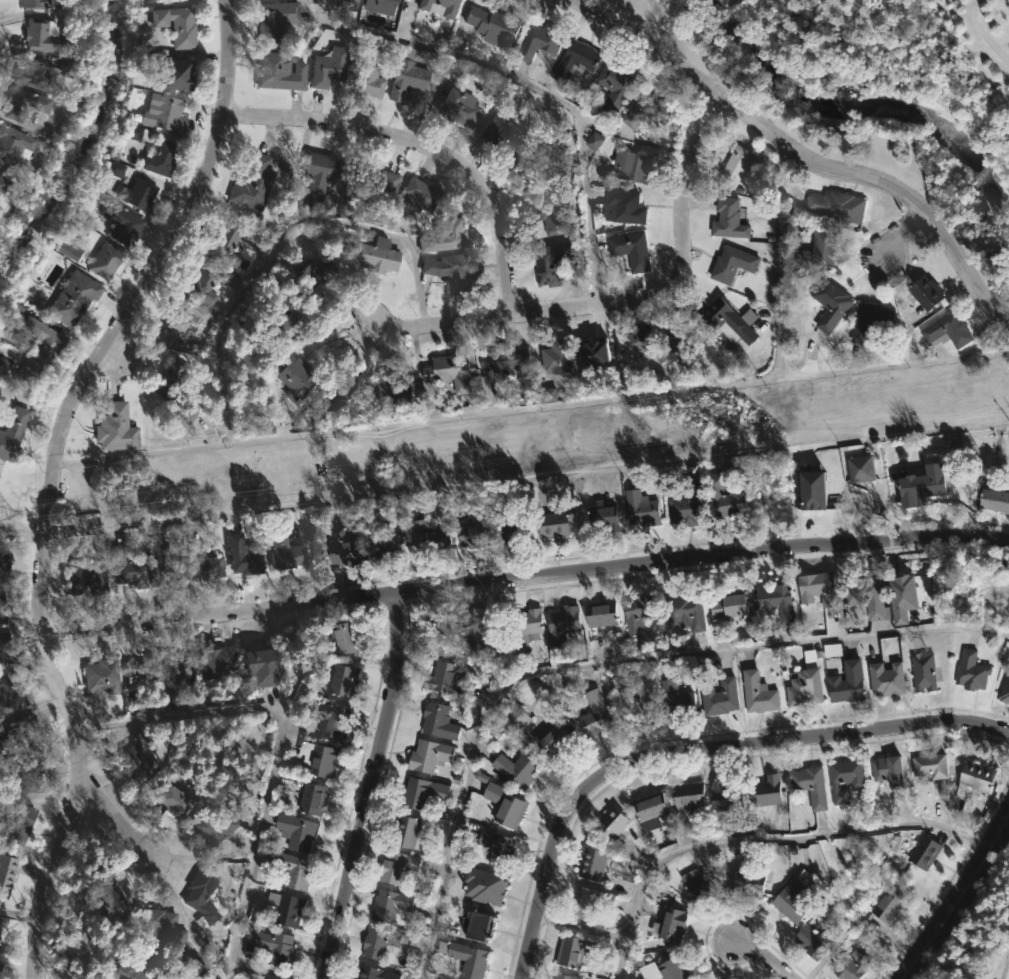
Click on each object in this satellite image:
building: (41, 4)
building: (351, 5)
building: (381, 6)
building: (450, 12)
building: (274, 19)
building: (177, 25)
building: (497, 26)
road: (982, 35)
building: (41, 37)
building: (537, 42)
building: (388, 48)
building: (407, 53)
building: (573, 60)
building: (63, 63)
park: (893, 64)
building: (330, 67)
building: (169, 71)
building: (32, 72)
building: (278, 72)
building: (409, 78)
building: (366, 80)
road: (532, 86)
building: (613, 86)
park: (872, 93)
building: (26, 104)
building: (461, 108)
building: (644, 108)
building: (166, 113)
building: (505, 136)
building: (593, 141)
building: (13, 144)
road: (423, 145)
building: (154, 150)
road: (799, 157)
building: (629, 166)
building: (734, 167)
building: (115, 169)
building: (322, 174)
building: (543, 179)
building: (254, 182)
building: (4, 184)
building: (374, 184)
building: (139, 194)
building: (422, 195)
building: (622, 207)
building: (836, 208)
building: (727, 219)
building: (551, 220)
building: (123, 222)
building: (445, 234)
road: (893, 234)
building: (69, 244)
building: (226, 244)
building: (629, 249)
building: (817, 249)
building: (377, 255)
building: (108, 260)
road: (784, 260)
building: (552, 261)
building: (730, 263)
building: (452, 270)
building: (317, 272)
building: (199, 284)
building: (924, 292)
building: (76, 298)
building: (829, 303)
road: (623, 306)
building: (179, 315)
building: (716, 316)
building: (295, 320)
building: (868, 321)
building: (946, 330)
building: (634, 341)
building: (681, 342)
building: (594, 352)
building: (38, 357)
building: (554, 357)
building: (503, 359)
building: (448, 372)
building: (296, 376)
building: (169, 378)
building: (388, 387)
building: (346, 391)
building: (548, 395)
road: (534, 405)
building: (187, 407)
building: (119, 428)
building: (13, 431)
power tower: (657, 436)
building: (858, 468)
road: (53, 475)
power tower: (329, 476)
road: (527, 479)
building: (920, 483)
building: (811, 490)
building: (725, 494)
building: (993, 500)
building: (686, 504)
building: (641, 508)
power tower: (13, 516)
building: (603, 517)
road: (579, 522)
building: (552, 524)
building: (512, 531)
building: (470, 534)
building: (428, 537)
building: (390, 545)
building: (348, 546)
building: (286, 548)
building: (244, 556)
building: (206, 562)
building: (4, 563)
building: (165, 564)
building: (128, 565)
building: (86, 575)
road: (525, 578)
building: (815, 588)
building: (866, 597)
building: (902, 598)
building: (775, 603)
building: (727, 608)
building: (1, 611)
building: (599, 613)
building: (637, 613)
building: (683, 615)
building: (561, 624)
building: (528, 629)
building: (475, 634)
building: (344, 637)
building: (4, 639)
building: (1, 660)
building: (222, 662)
road: (601, 664)
building: (266, 666)
building: (179, 671)
building: (970, 671)
building: (922, 672)
building: (440, 677)
building: (102, 679)
building: (885, 679)
building: (347, 681)
building: (145, 683)
building: (804, 683)
building: (846, 683)
building: (1004, 690)
building: (757, 693)
building: (11, 694)
building: (678, 697)
building: (718, 697)
building: (629, 703)
building: (593, 716)
building: (513, 718)
building: (336, 721)
building: (439, 721)
building: (495, 731)
building: (16, 734)
building: (550, 738)
road: (275, 748)
building: (246, 750)
road: (691, 751)
building: (431, 756)
building: (137, 758)
building: (321, 758)
building: (928, 766)
building: (519, 768)
building: (887, 770)
building: (31, 775)
building: (974, 777)
building: (844, 779)
building: (808, 786)
road: (365, 788)
building: (424, 792)
building: (763, 792)
building: (314, 798)
building: (724, 798)
building: (175, 799)
building: (685, 799)
building: (508, 804)
building: (648, 809)
road: (117, 816)
building: (609, 824)
building: (21, 826)
building: (209, 829)
building: (295, 832)
building: (407, 832)
road: (759, 837)
building: (495, 849)
building: (922, 852)
building: (590, 864)
building: (399, 867)
building: (298, 871)
building: (5, 874)
building: (747, 882)
building: (699, 884)
building: (487, 885)
building: (104, 892)
building: (204, 895)
road: (957, 897)
building: (791, 898)
building: (589, 903)
building: (387, 905)
building: (887, 907)
building: (289, 909)
building: (671, 924)
building: (482, 925)
building: (157, 928)
building: (809, 941)
building: (377, 942)
building: (278, 946)
building: (85, 948)
building: (573, 952)
road: (761, 957)
building: (467, 958)
building: (849, 964)
building: (1, 970)
building: (662, 970)
building: (131, 972)
building: (373, 974)
building: (565, 976)

